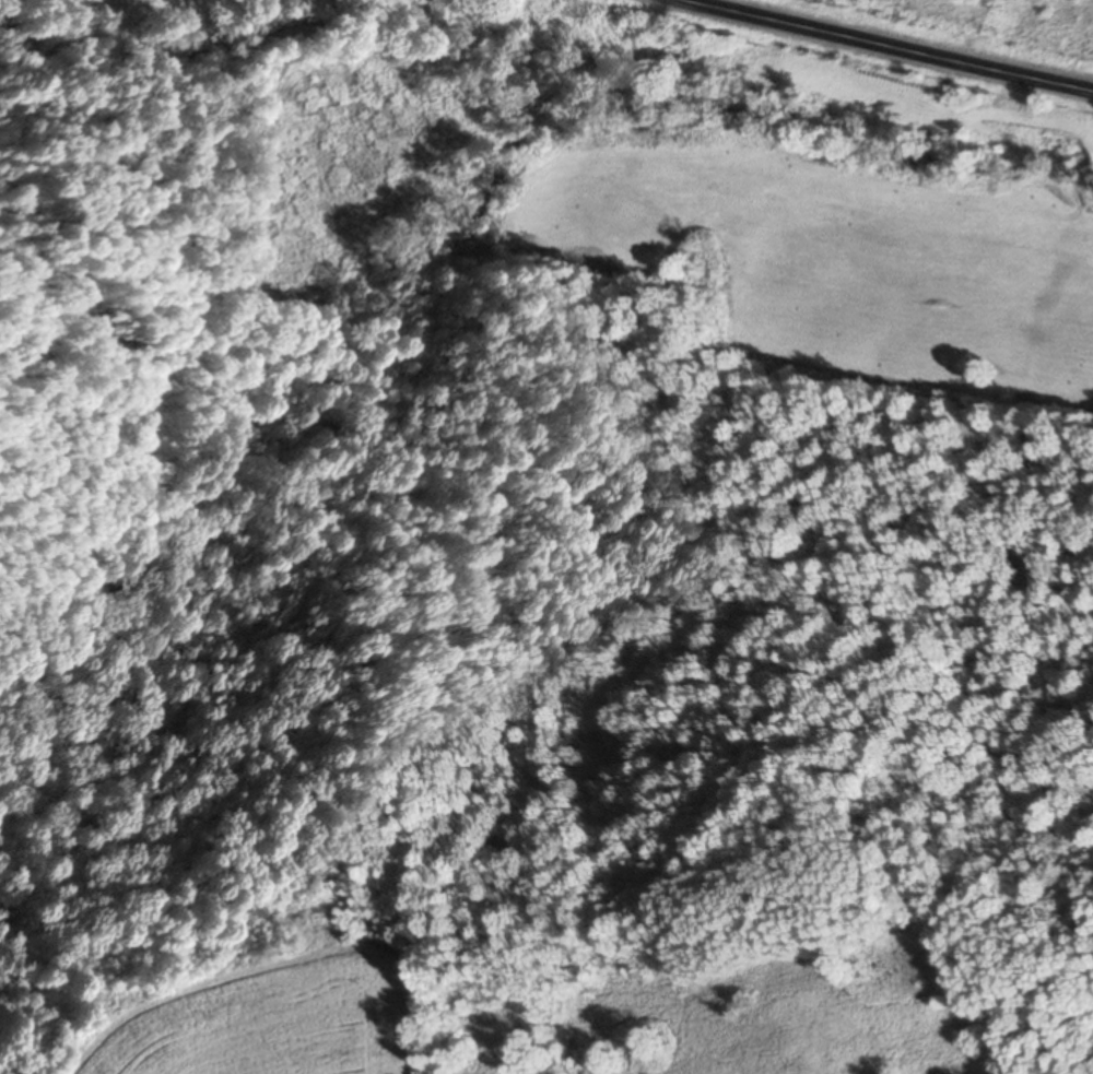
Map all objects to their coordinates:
road: (875, 46)

